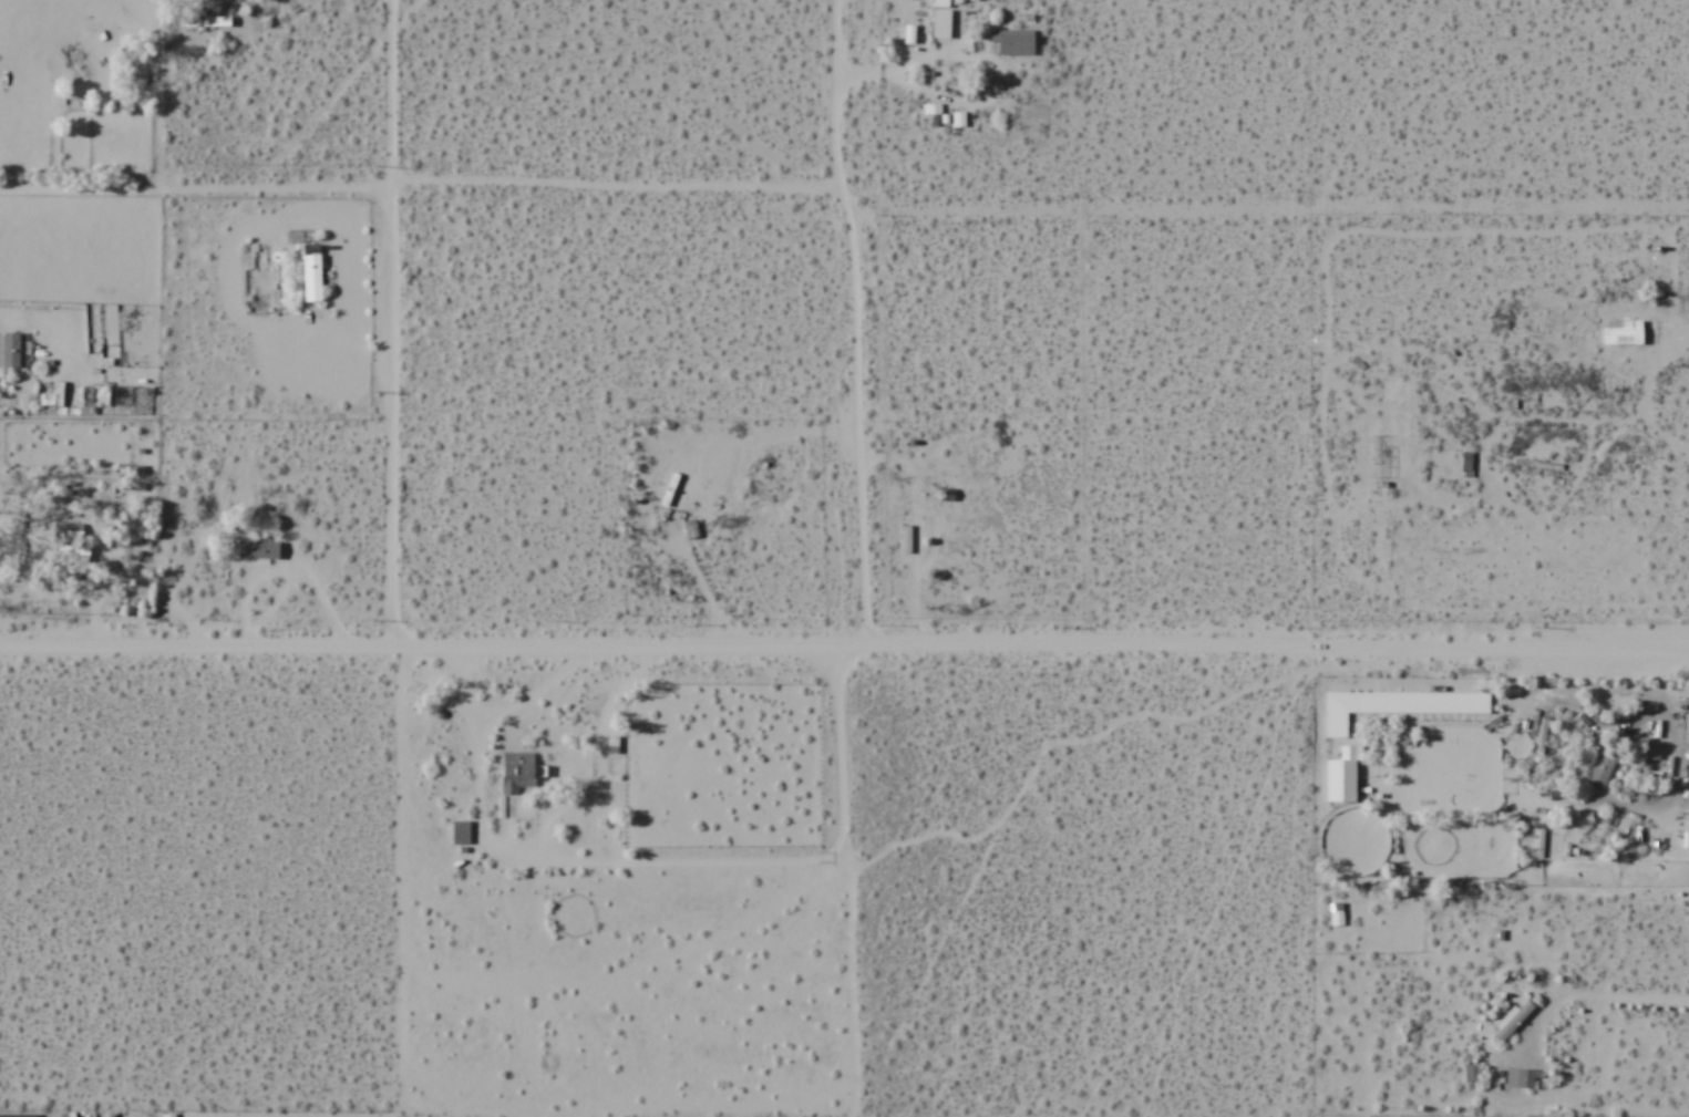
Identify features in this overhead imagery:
building: (945, 23)
building: (1011, 42)
road: (845, 198)
building: (310, 272)
road: (858, 321)
road: (391, 325)
building: (1621, 332)
building: (9, 350)
building: (49, 400)
building: (1464, 464)
building: (670, 490)
building: (257, 549)
building: (68, 555)
road: (844, 645)
building: (1398, 705)
building: (1541, 736)
building: (1602, 770)
building: (517, 773)
building: (1342, 776)
building: (460, 832)
building: (1336, 914)
building: (1511, 1021)
building: (1523, 1078)
building: (17, 1116)

